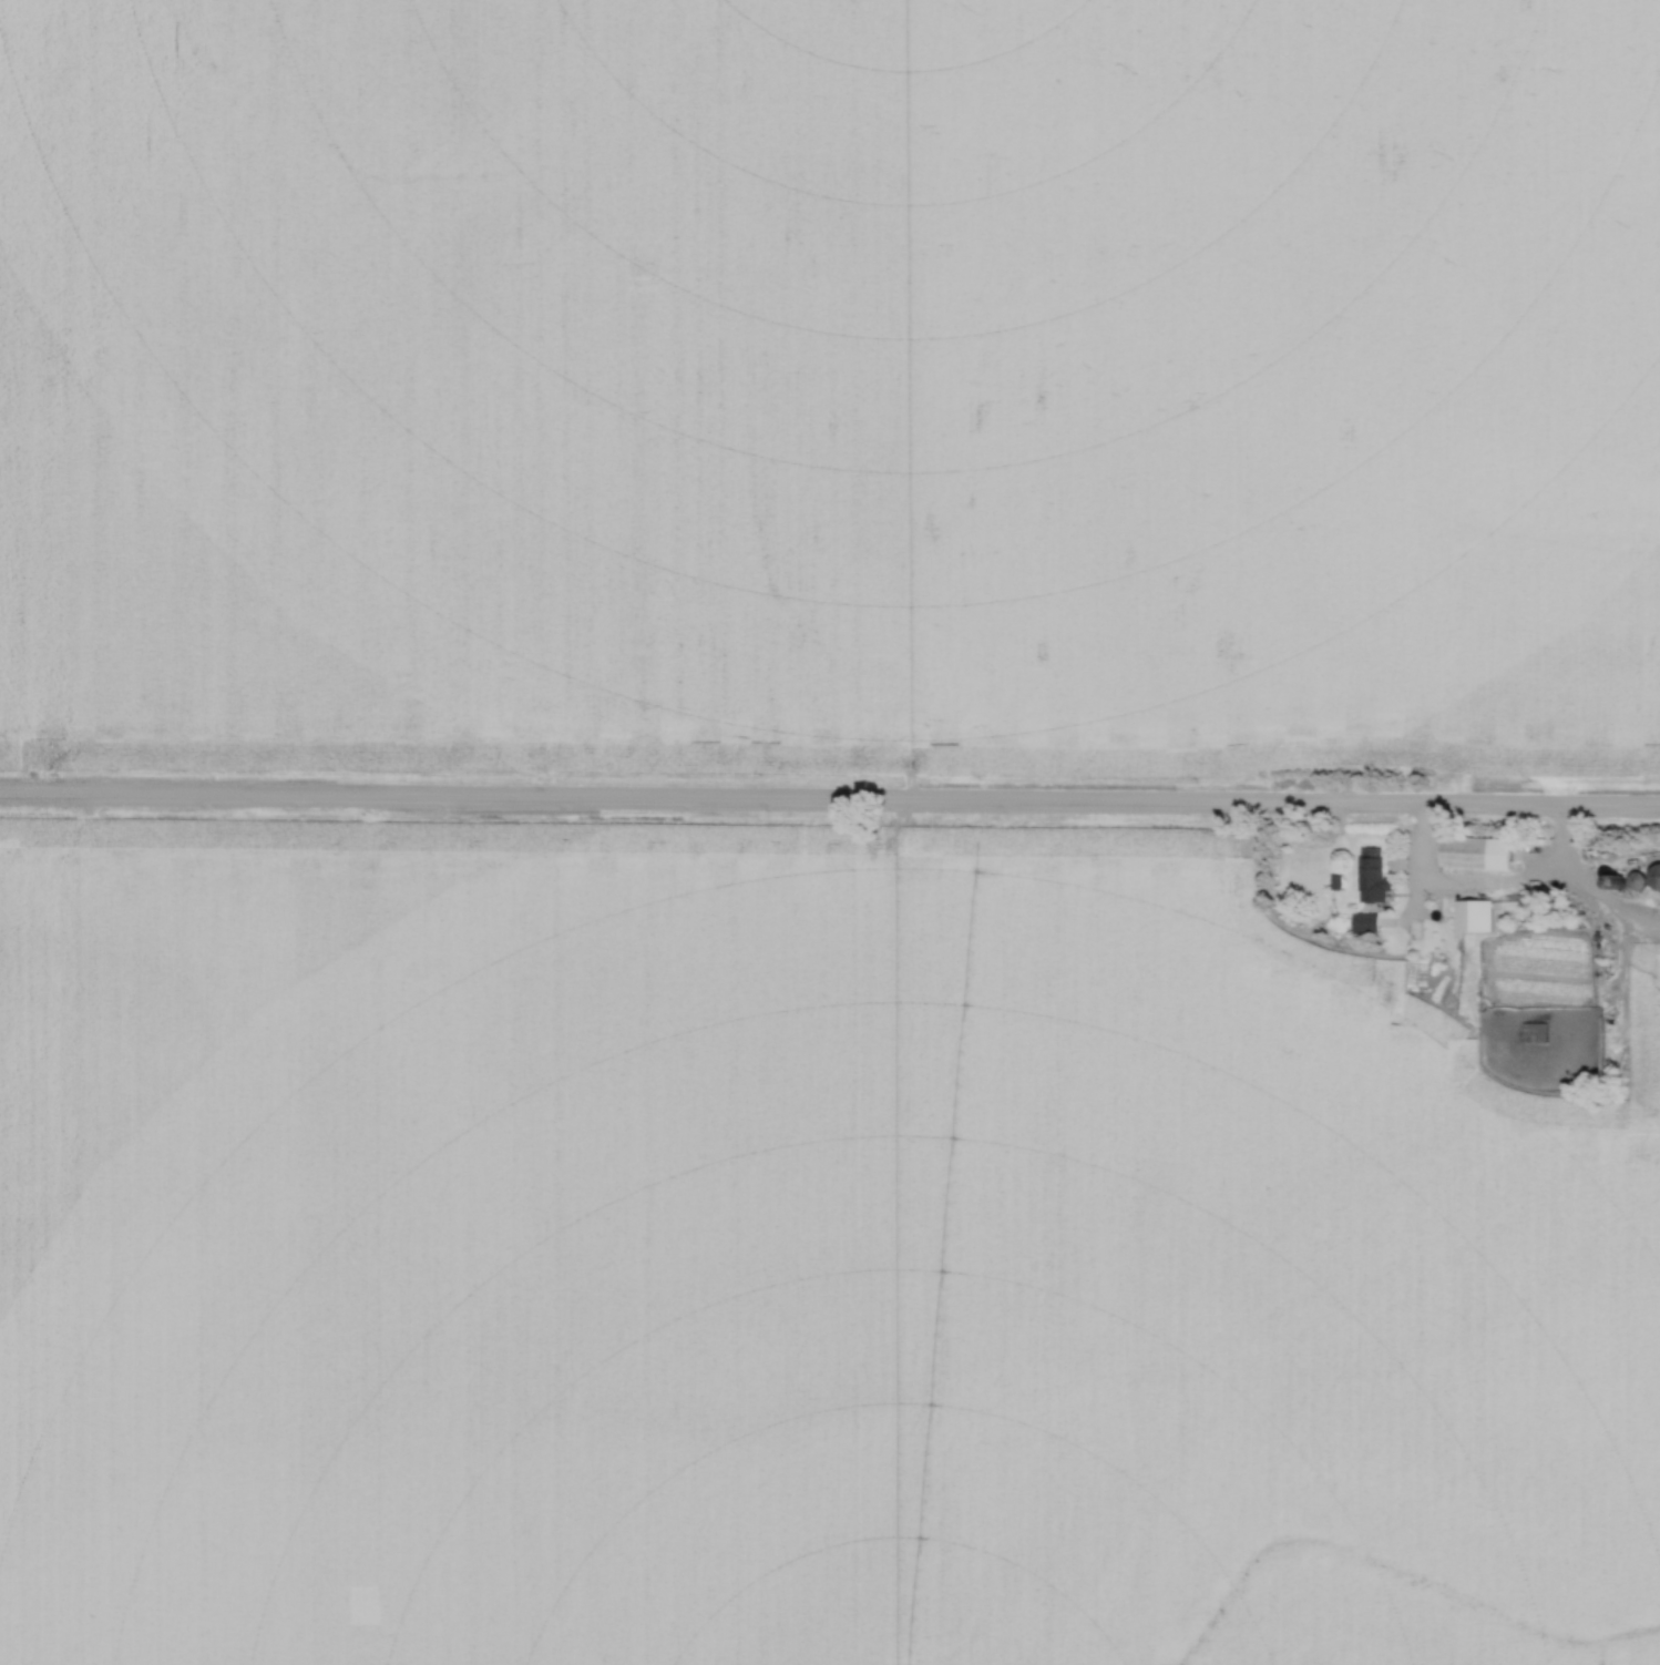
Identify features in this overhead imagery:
road: (829, 803)
building: (1461, 852)
building: (1370, 876)
road: (1572, 891)
building: (1469, 917)
building: (1362, 923)
building: (1531, 1034)

